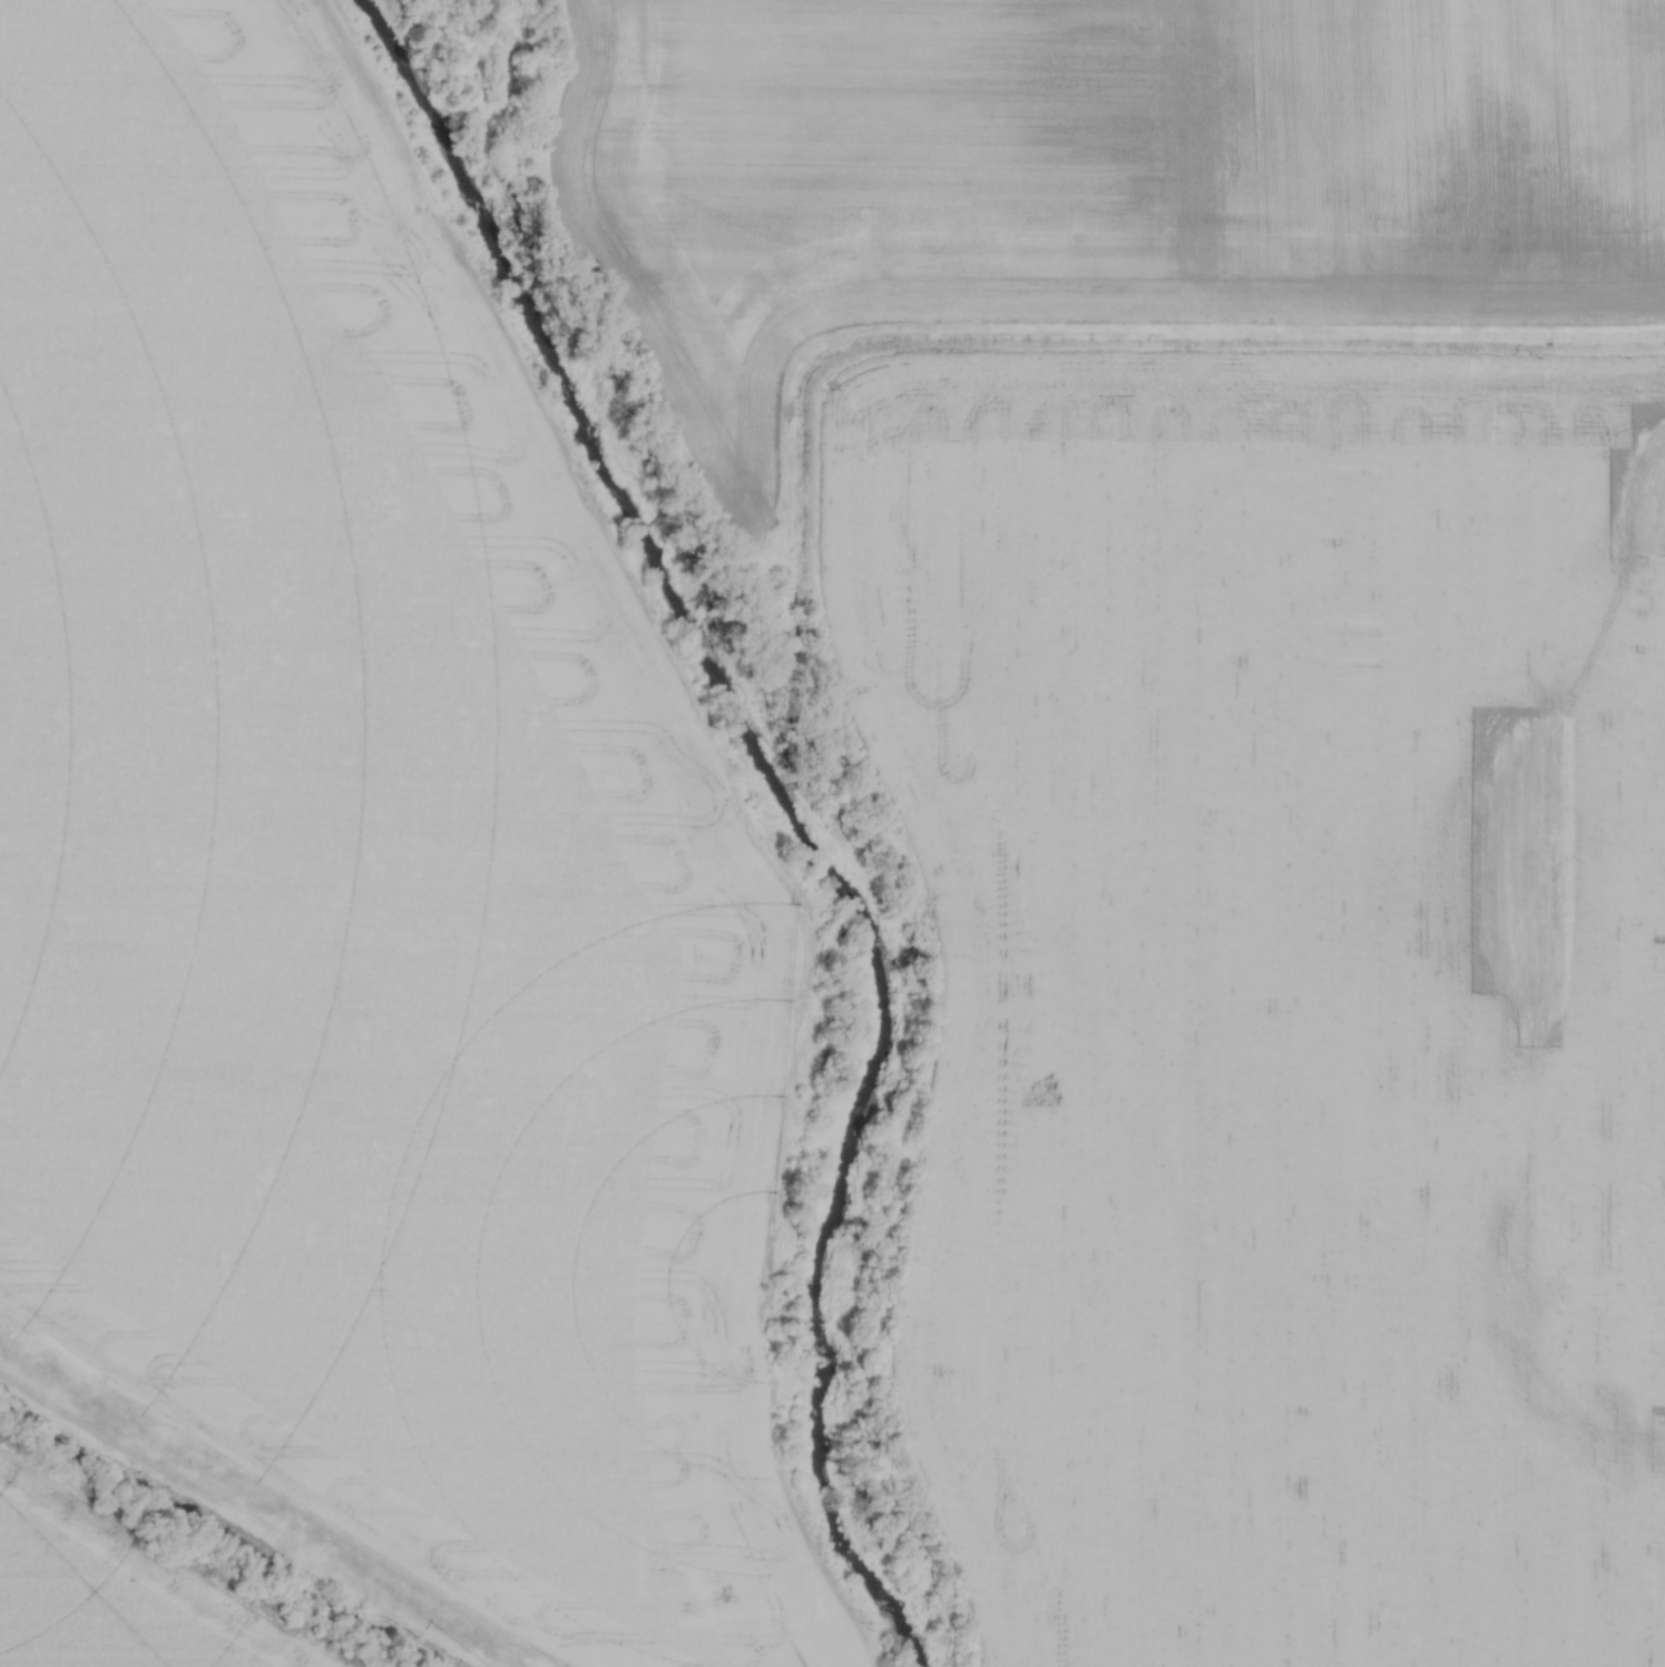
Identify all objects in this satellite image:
river: (802, 808)

